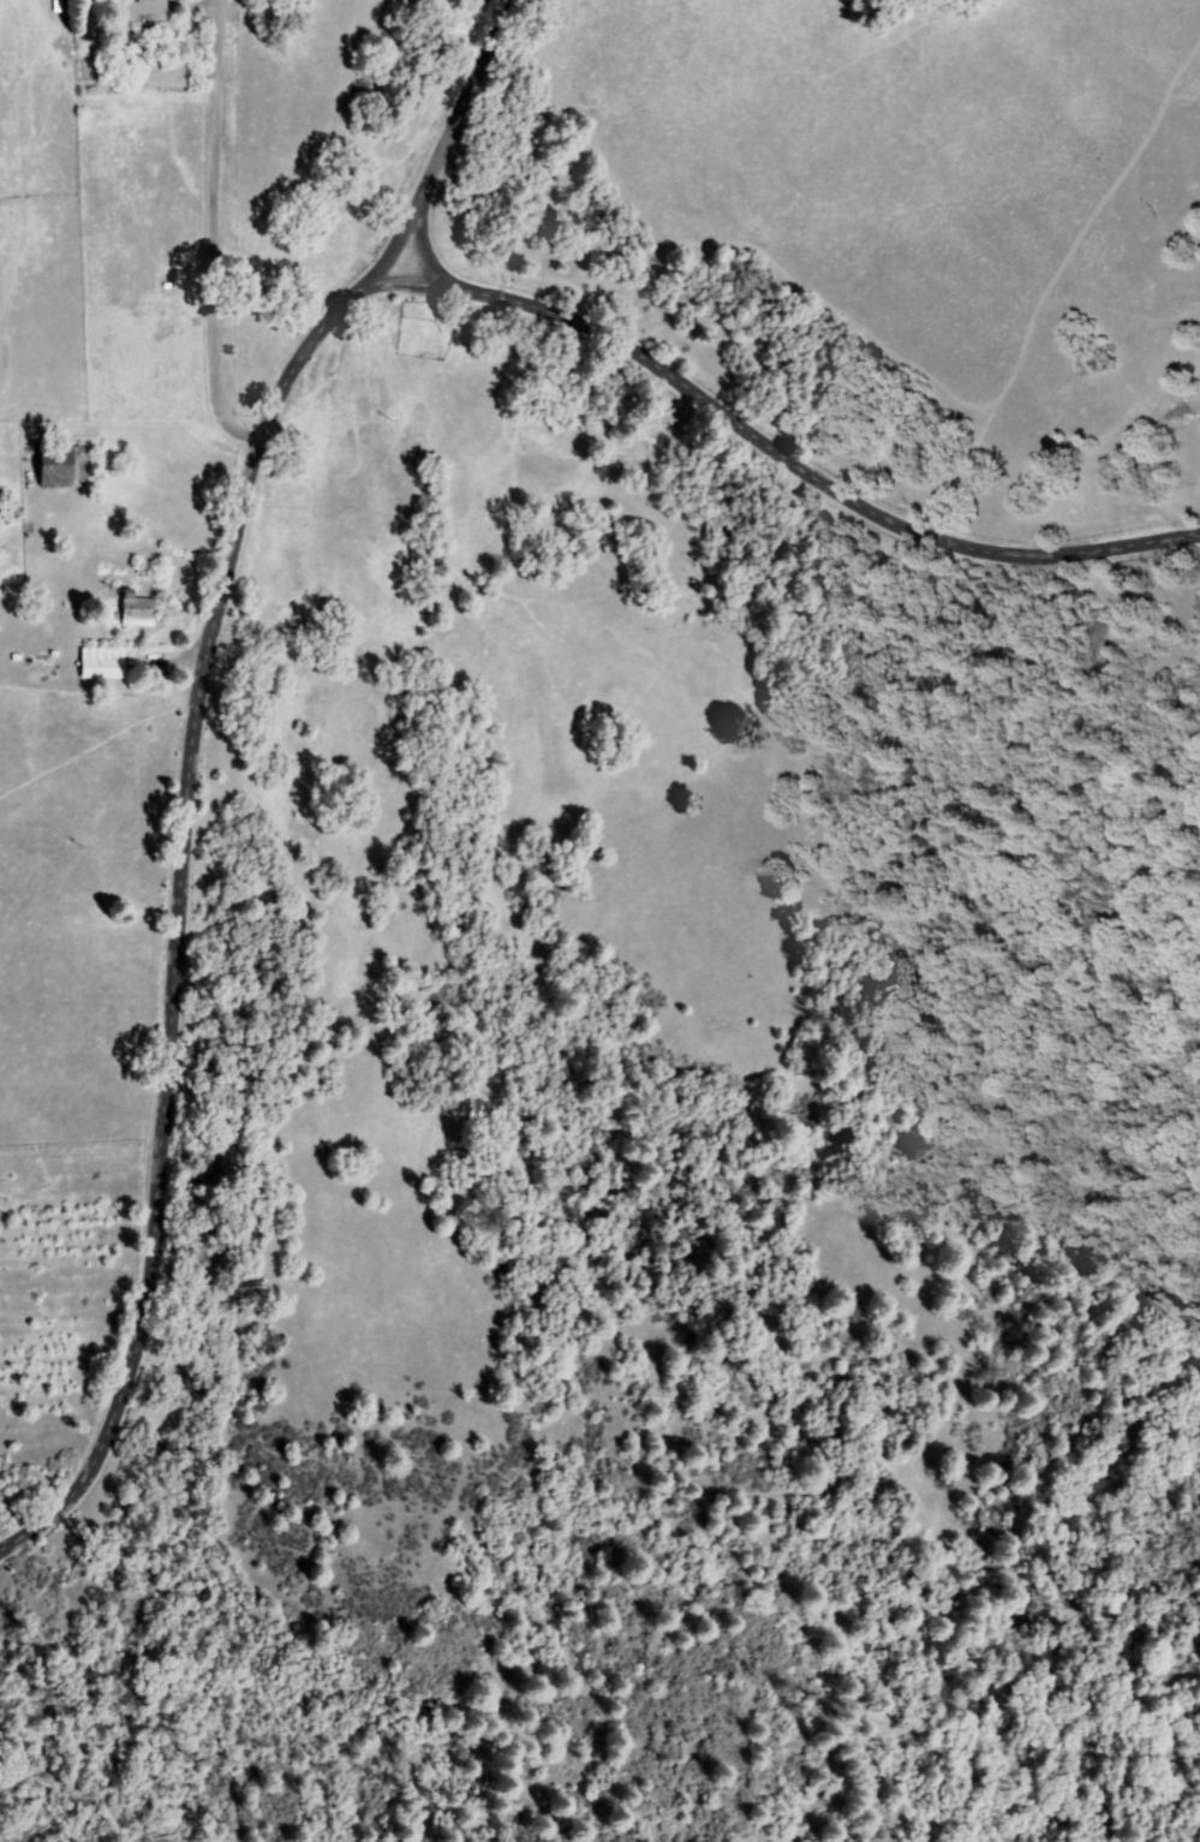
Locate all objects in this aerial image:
building: (148, 17)
road: (219, 223)
road: (775, 446)
building: (61, 465)
building: (138, 610)
building: (103, 664)
road: (184, 758)

